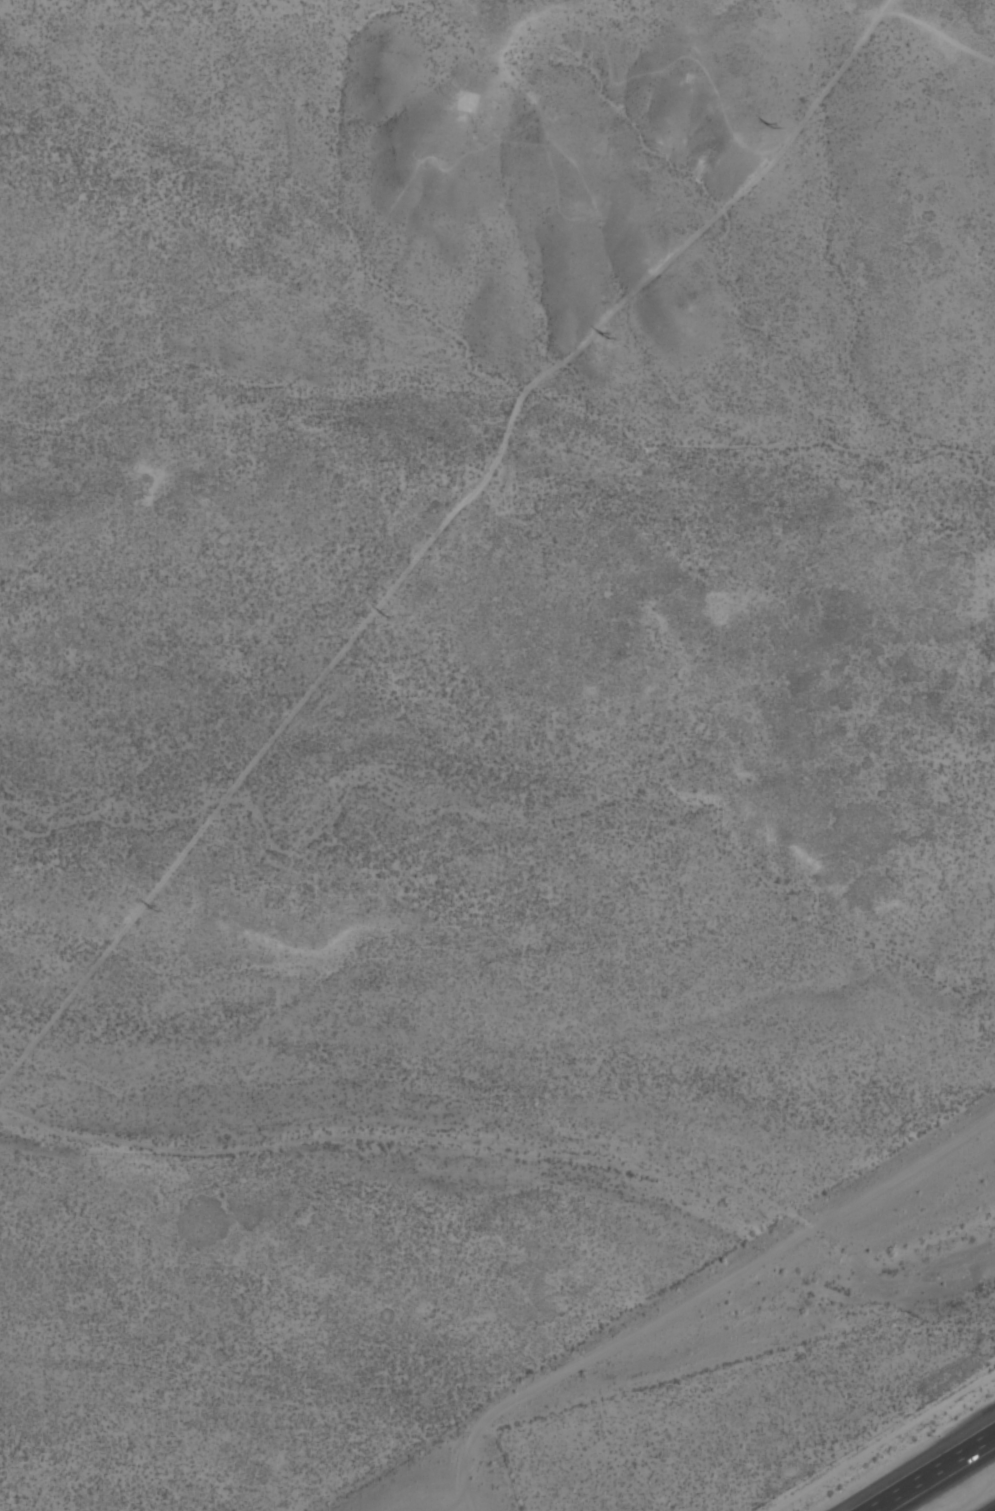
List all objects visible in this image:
power tower: (767, 124)
power tower: (601, 335)
power tower: (381, 614)
power tower: (149, 907)
road: (931, 1471)

